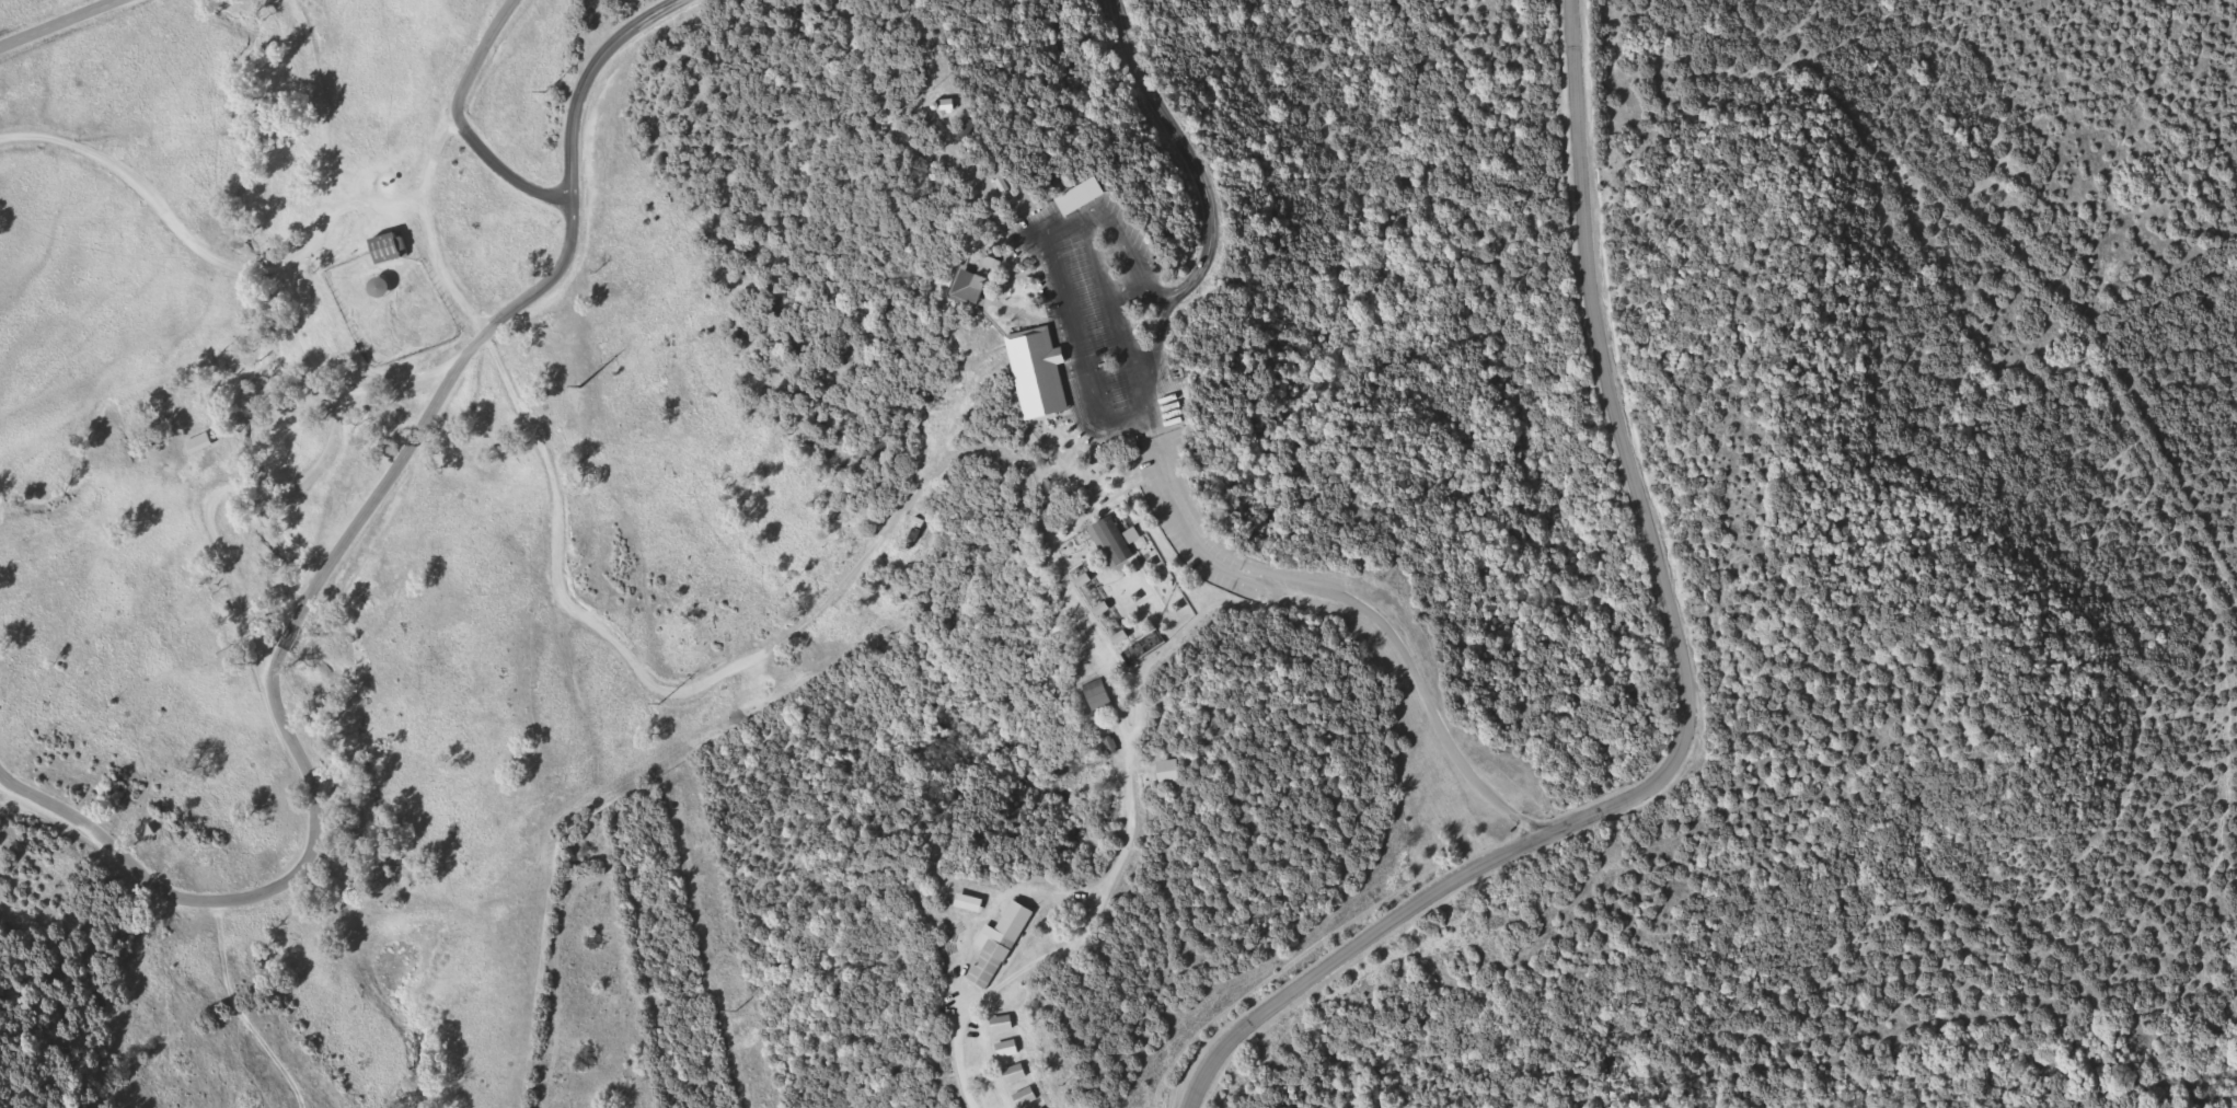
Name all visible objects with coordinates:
road: (51, 20)
road: (463, 107)
road: (316, 135)
road: (574, 164)
road: (507, 168)
road: (152, 207)
building: (387, 247)
building: (976, 284)
building: (378, 287)
building: (1066, 361)
road: (1166, 490)
building: (1111, 541)
road: (558, 604)
road: (1686, 681)
road: (267, 689)
building: (1097, 695)
building: (151, 836)
building: (969, 903)
building: (993, 955)
building: (1002, 1024)
building: (1007, 1048)
road: (961, 1070)
building: (1015, 1073)
building: (1025, 1097)
building: (1042, 1107)

